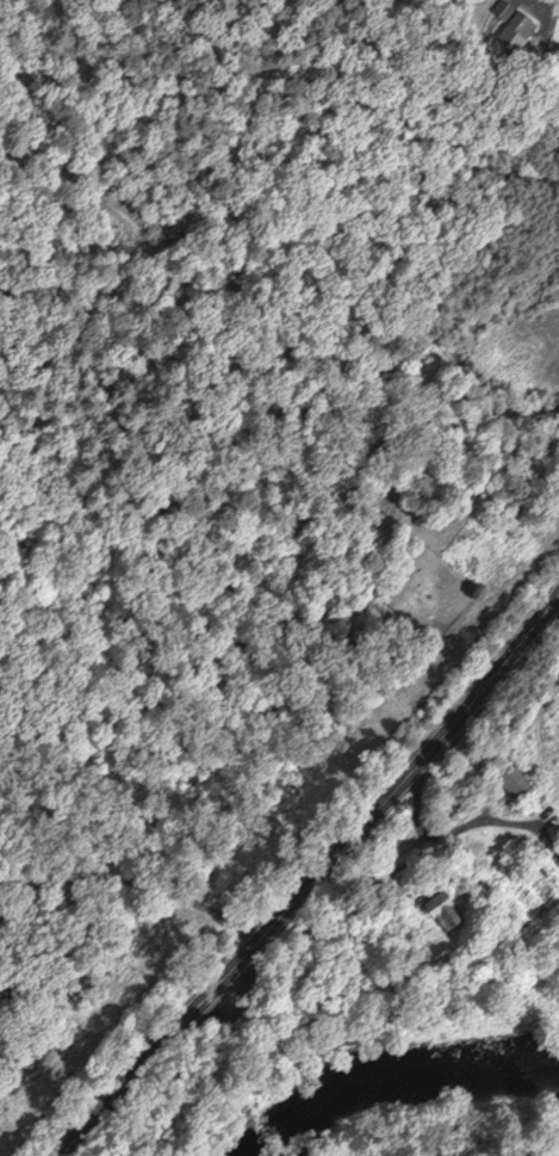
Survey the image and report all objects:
building: (518, 31)
building: (520, 783)
road: (319, 866)
road: (137, 889)
building: (447, 911)
river: (384, 1067)

